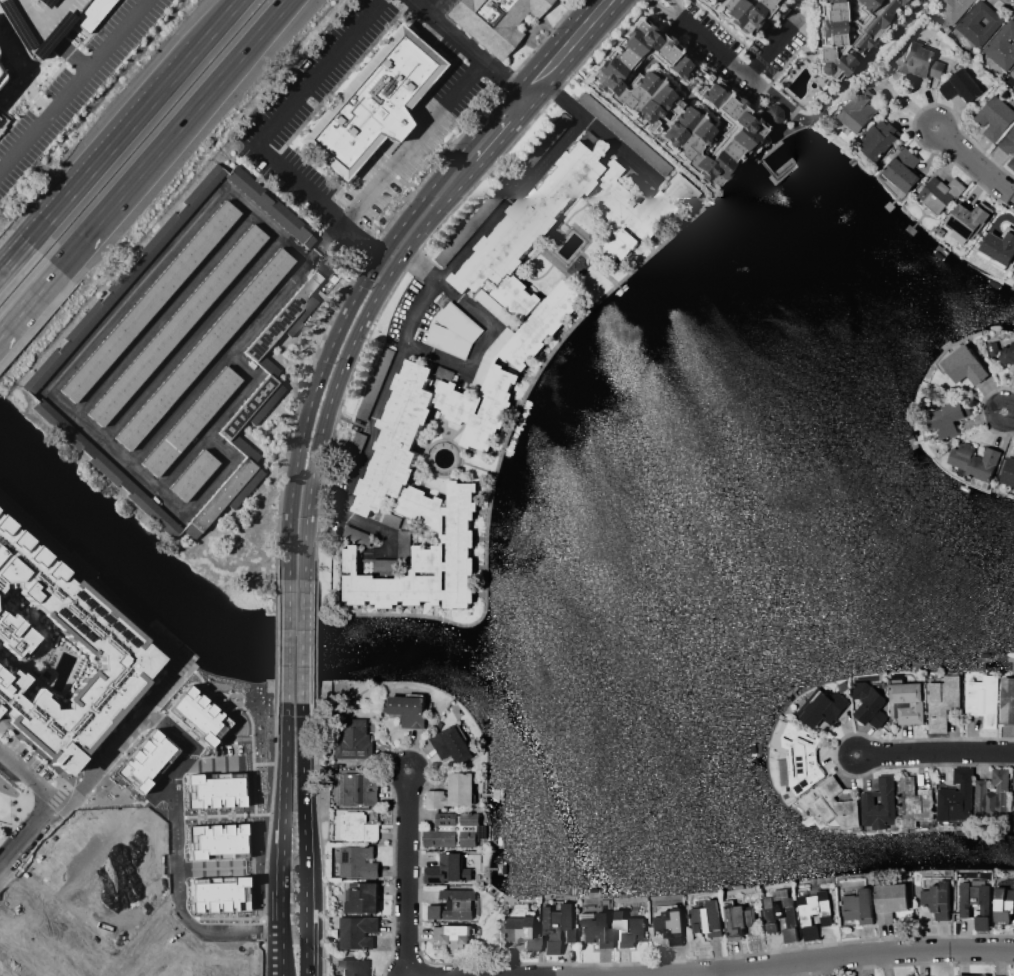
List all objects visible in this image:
road: (1010, 2)
road: (676, 6)
building: (951, 8)
building: (738, 12)
road: (658, 13)
building: (47, 20)
building: (492, 21)
building: (980, 23)
building: (846, 31)
road: (568, 40)
road: (464, 45)
building: (1002, 46)
building: (921, 55)
building: (1013, 69)
road: (740, 70)
building: (0, 77)
road: (22, 78)
road: (69, 84)
building: (961, 85)
road: (556, 98)
building: (669, 102)
building: (369, 103)
road: (910, 103)
building: (857, 111)
building: (768, 114)
building: (995, 117)
road: (276, 118)
building: (2, 120)
road: (912, 121)
road: (137, 122)
road: (510, 125)
road: (175, 134)
building: (879, 138)
building: (1008, 141)
road: (412, 144)
road: (978, 162)
building: (1011, 163)
building: (902, 174)
building: (940, 194)
building: (268, 208)
building: (969, 219)
building: (522, 231)
road: (361, 241)
building: (998, 248)
road: (15, 262)
road: (419, 266)
road: (436, 279)
building: (123, 280)
road: (396, 281)
building: (1013, 283)
road: (352, 301)
road: (29, 302)
building: (147, 302)
building: (495, 306)
road: (160, 314)
building: (284, 314)
building: (300, 316)
building: (175, 325)
building: (453, 331)
road: (187, 338)
building: (202, 348)
road: (481, 350)
building: (1001, 351)
road: (346, 353)
building: (491, 356)
building: (383, 362)
building: (266, 365)
building: (965, 365)
building: (265, 404)
building: (246, 407)
road: (176, 409)
road: (980, 409)
road: (1008, 412)
road: (295, 416)
building: (189, 421)
building: (944, 422)
road: (81, 424)
building: (398, 439)
building: (242, 449)
building: (975, 461)
road: (179, 463)
building: (1009, 472)
building: (192, 474)
building: (225, 498)
road: (286, 640)
road: (302, 641)
road: (315, 644)
building: (60, 657)
building: (983, 699)
building: (1007, 700)
building: (942, 701)
building: (906, 702)
building: (870, 704)
building: (822, 707)
building: (408, 709)
building: (198, 718)
building: (353, 735)
building: (451, 745)
road: (934, 752)
building: (802, 757)
road: (105, 761)
building: (146, 761)
road: (29, 775)
building: (360, 788)
building: (212, 789)
building: (454, 791)
building: (992, 795)
building: (957, 797)
park: (12, 801)
building: (914, 801)
building: (1013, 803)
building: (831, 804)
building: (879, 804)
road: (13, 805)
road: (27, 807)
road: (283, 812)
road: (317, 815)
building: (353, 825)
road: (4, 827)
road: (3, 829)
building: (453, 829)
road: (4, 833)
road: (302, 839)
building: (214, 842)
road: (29, 851)
building: (356, 861)
road: (172, 863)
building: (448, 869)
road: (405, 872)
building: (217, 892)
building: (364, 899)
building: (938, 899)
building: (890, 900)
building: (975, 902)
building: (1004, 904)
building: (453, 905)
building: (858, 905)
building: (814, 912)
building: (780, 913)
building: (737, 917)
building: (706, 918)
building: (669, 921)
building: (556, 926)
building: (629, 926)
building: (524, 929)
building: (596, 929)
building: (357, 931)
road: (261, 932)
building: (454, 936)
road: (117, 938)
road: (43, 940)
road: (280, 949)
road: (261, 960)
road: (813, 960)
building: (167, 962)
building: (354, 967)
building: (1, 974)
building: (847, 974)
building: (827, 975)
building: (970, 975)

